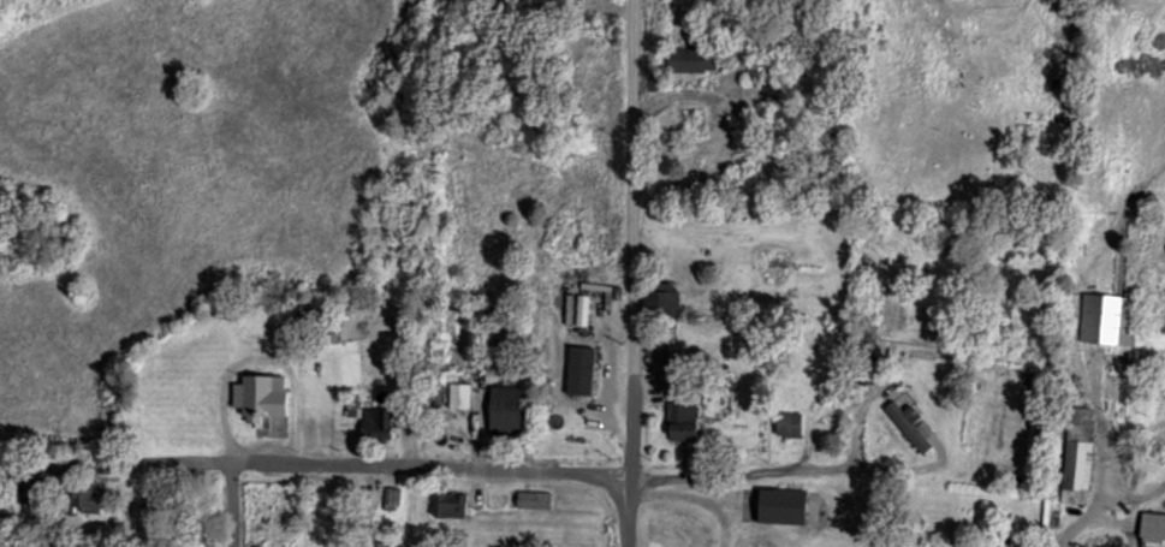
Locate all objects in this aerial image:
building: (689, 58)
building: (760, 67)
road: (630, 273)
building: (660, 304)
building: (1106, 319)
building: (1124, 386)
building: (458, 394)
building: (258, 396)
building: (503, 410)
building: (679, 421)
building: (1078, 421)
building: (376, 422)
building: (787, 423)
building: (910, 426)
road: (313, 463)
road: (780, 471)
building: (28, 488)
building: (78, 494)
building: (528, 498)
building: (447, 503)
road: (231, 504)
building: (778, 504)
building: (1151, 529)
building: (376, 543)

